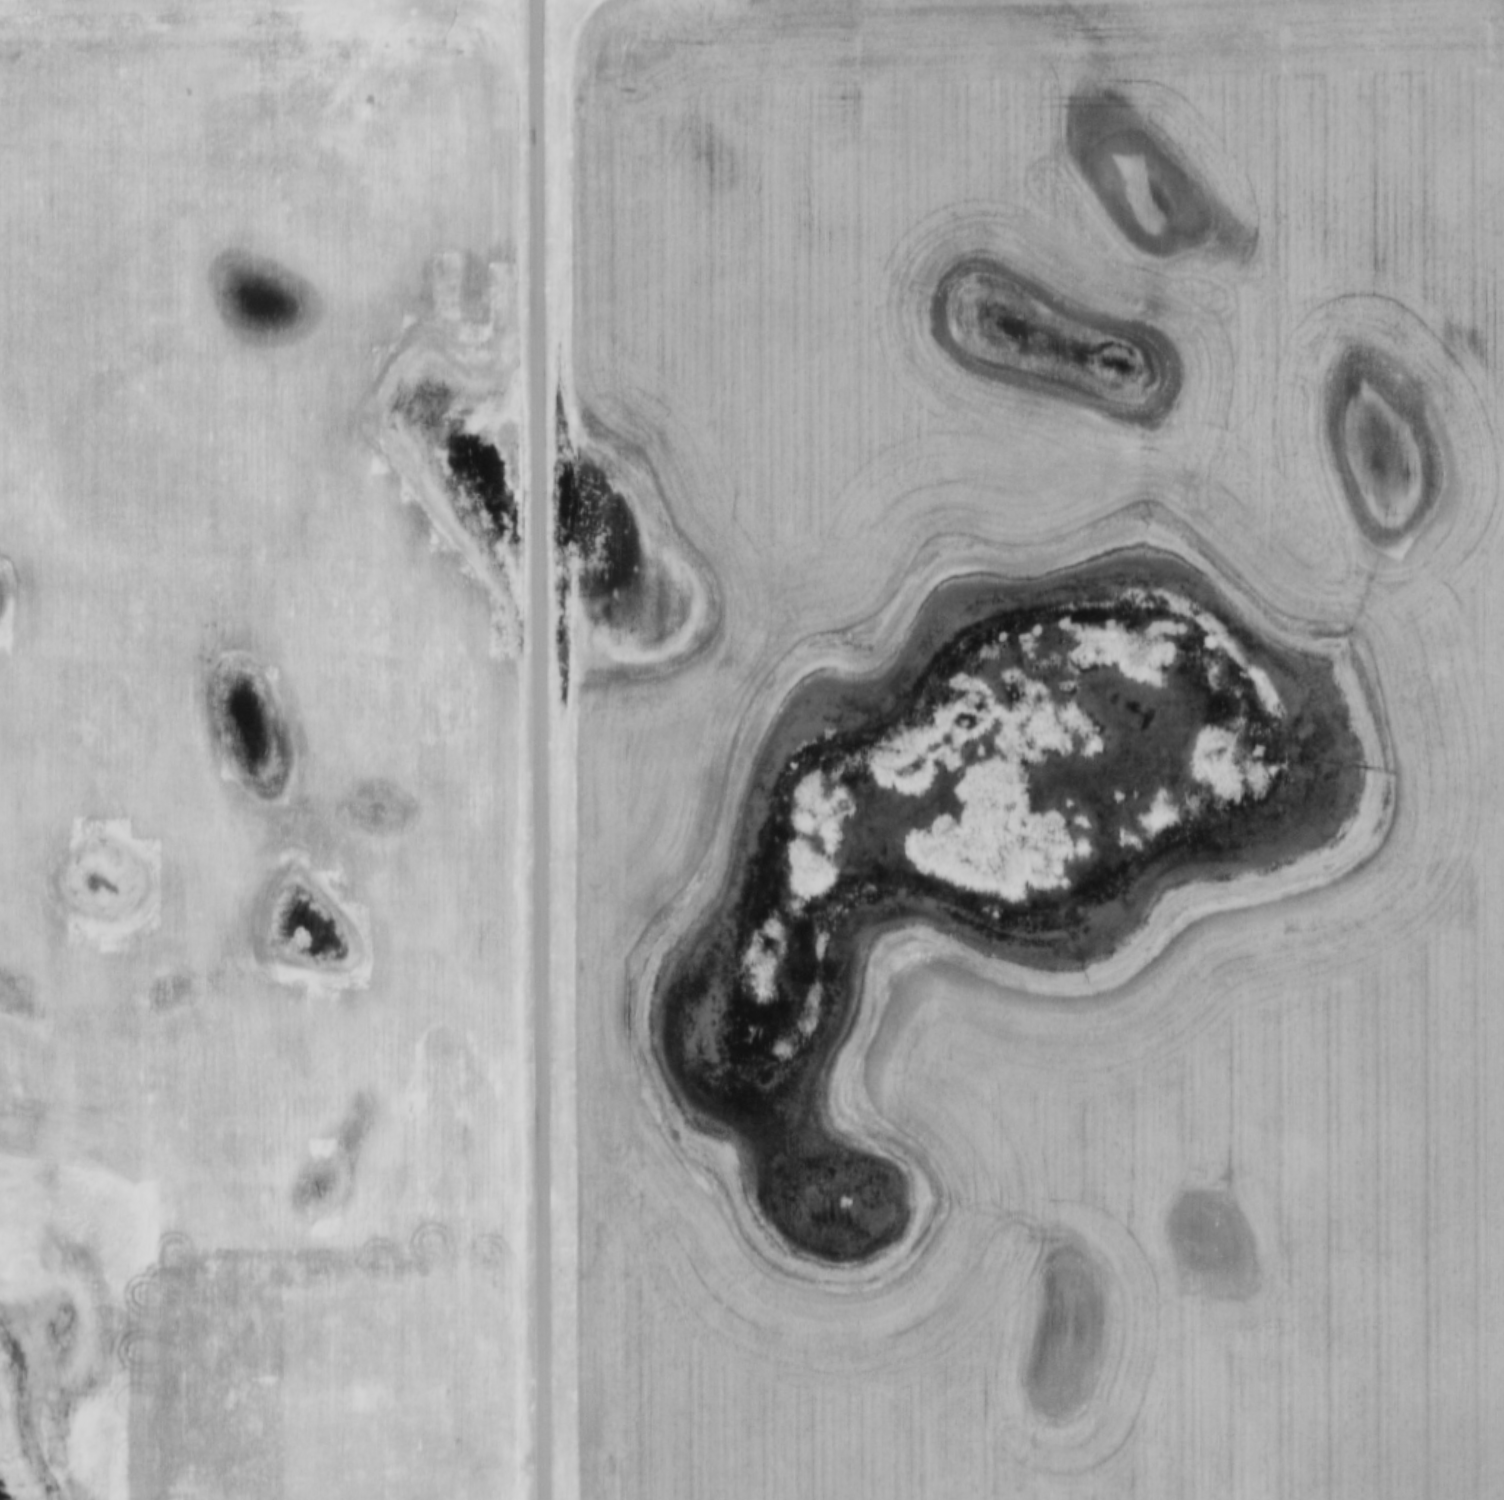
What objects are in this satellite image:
road: (119, 1)
road: (406, 2)
road: (535, 750)

